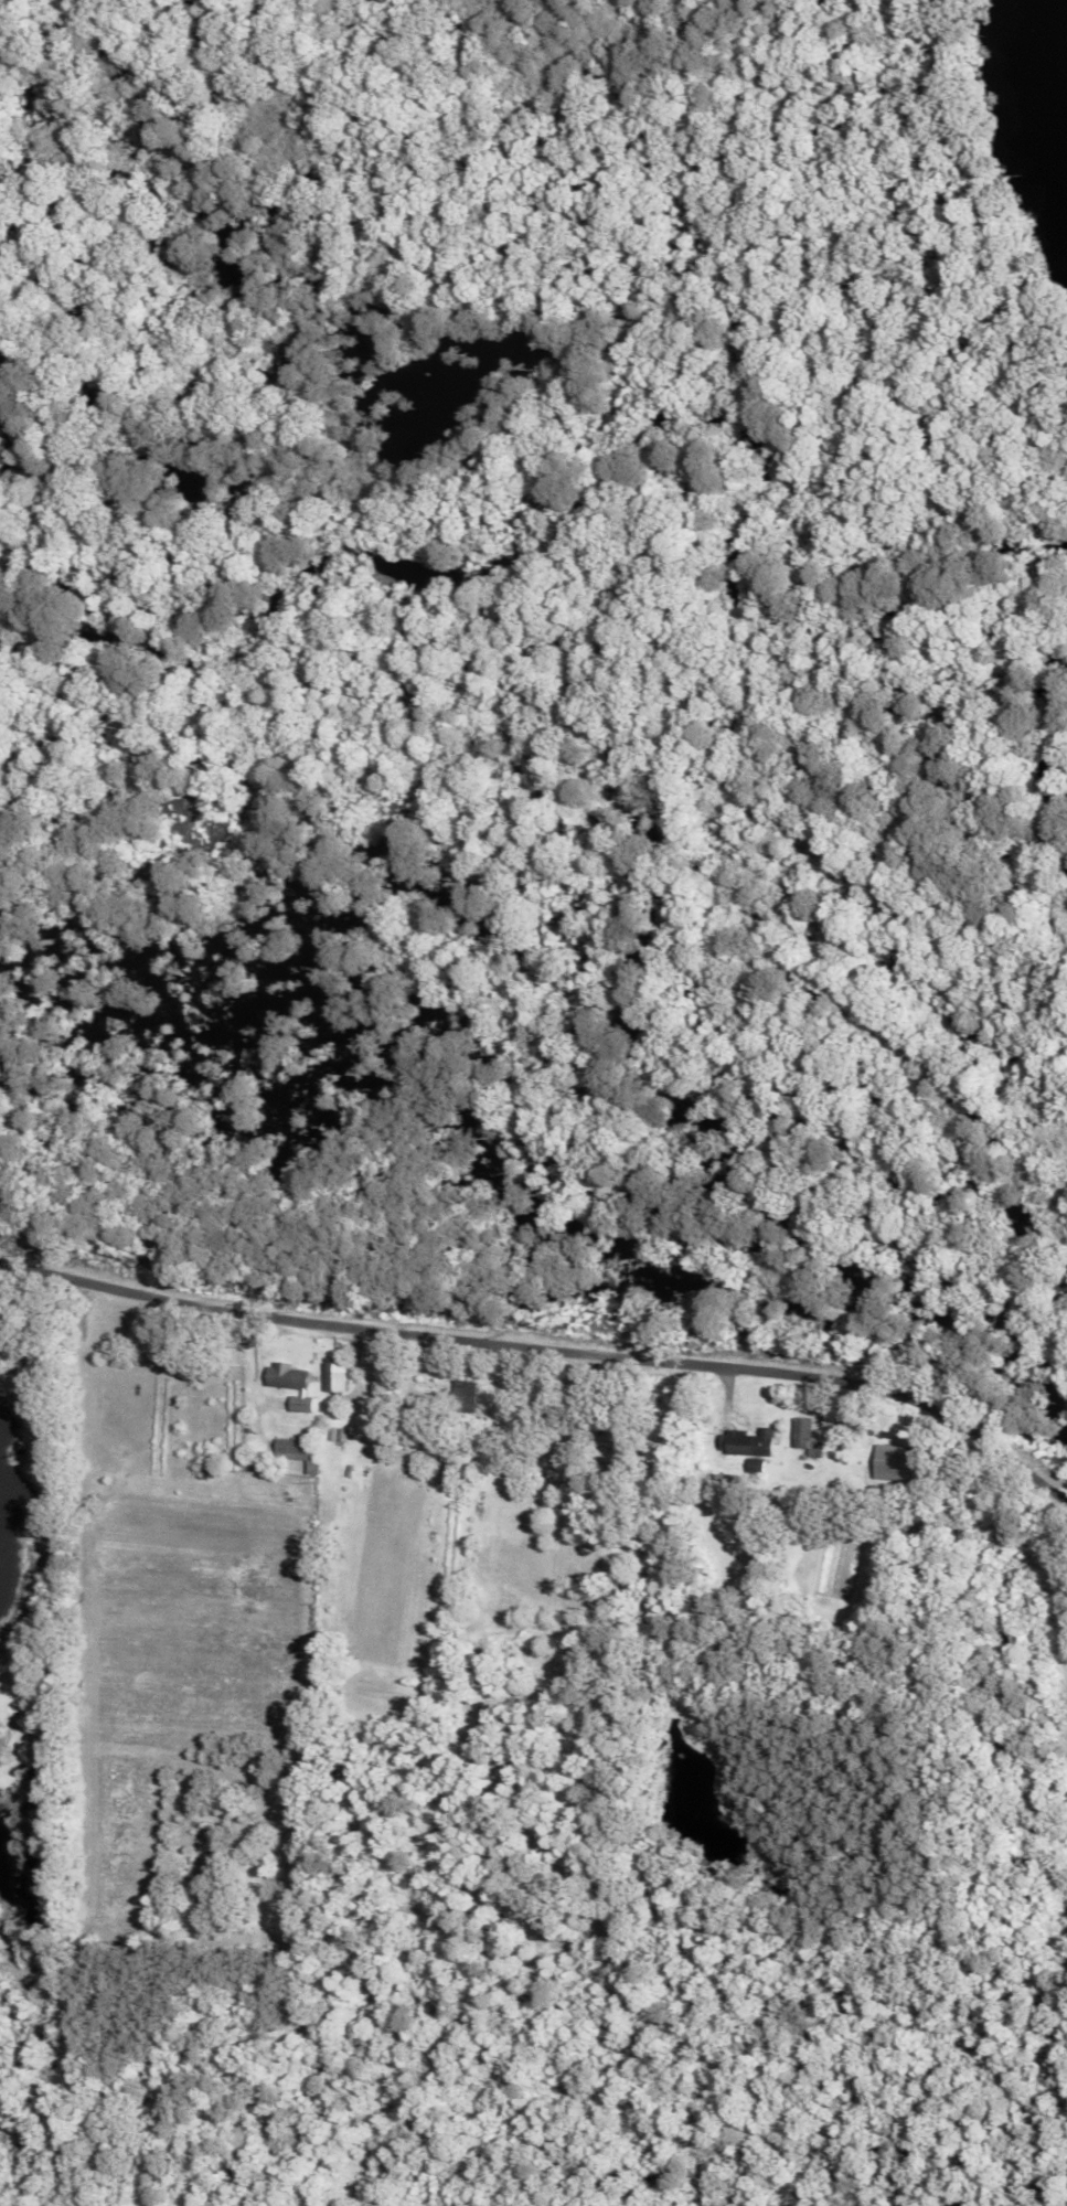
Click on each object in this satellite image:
road: (546, 1344)
building: (466, 1390)
building: (589, 1436)
building: (807, 1436)
building: (748, 1442)
building: (892, 1462)
building: (727, 1481)

